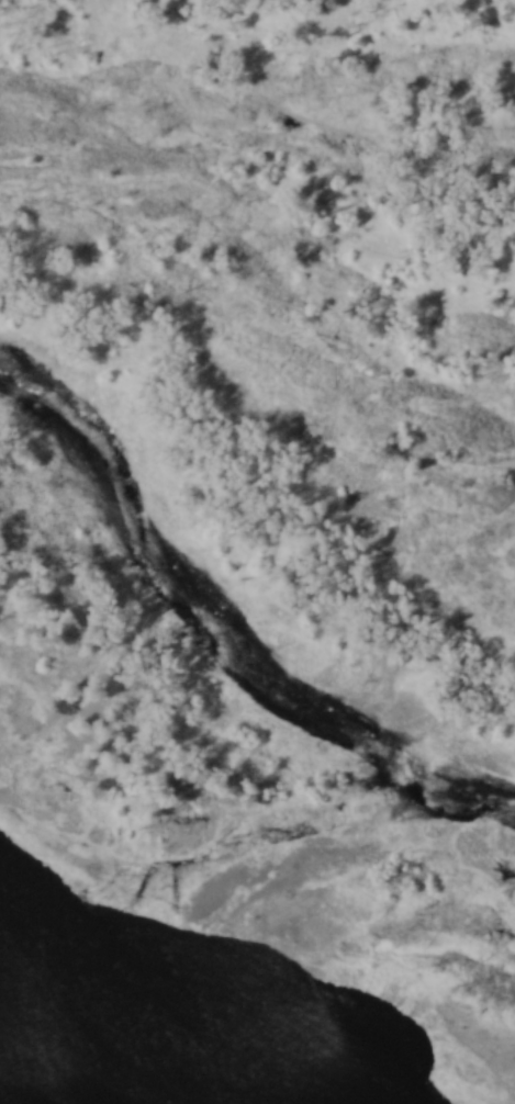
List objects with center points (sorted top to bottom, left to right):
river: (67, 1056)

